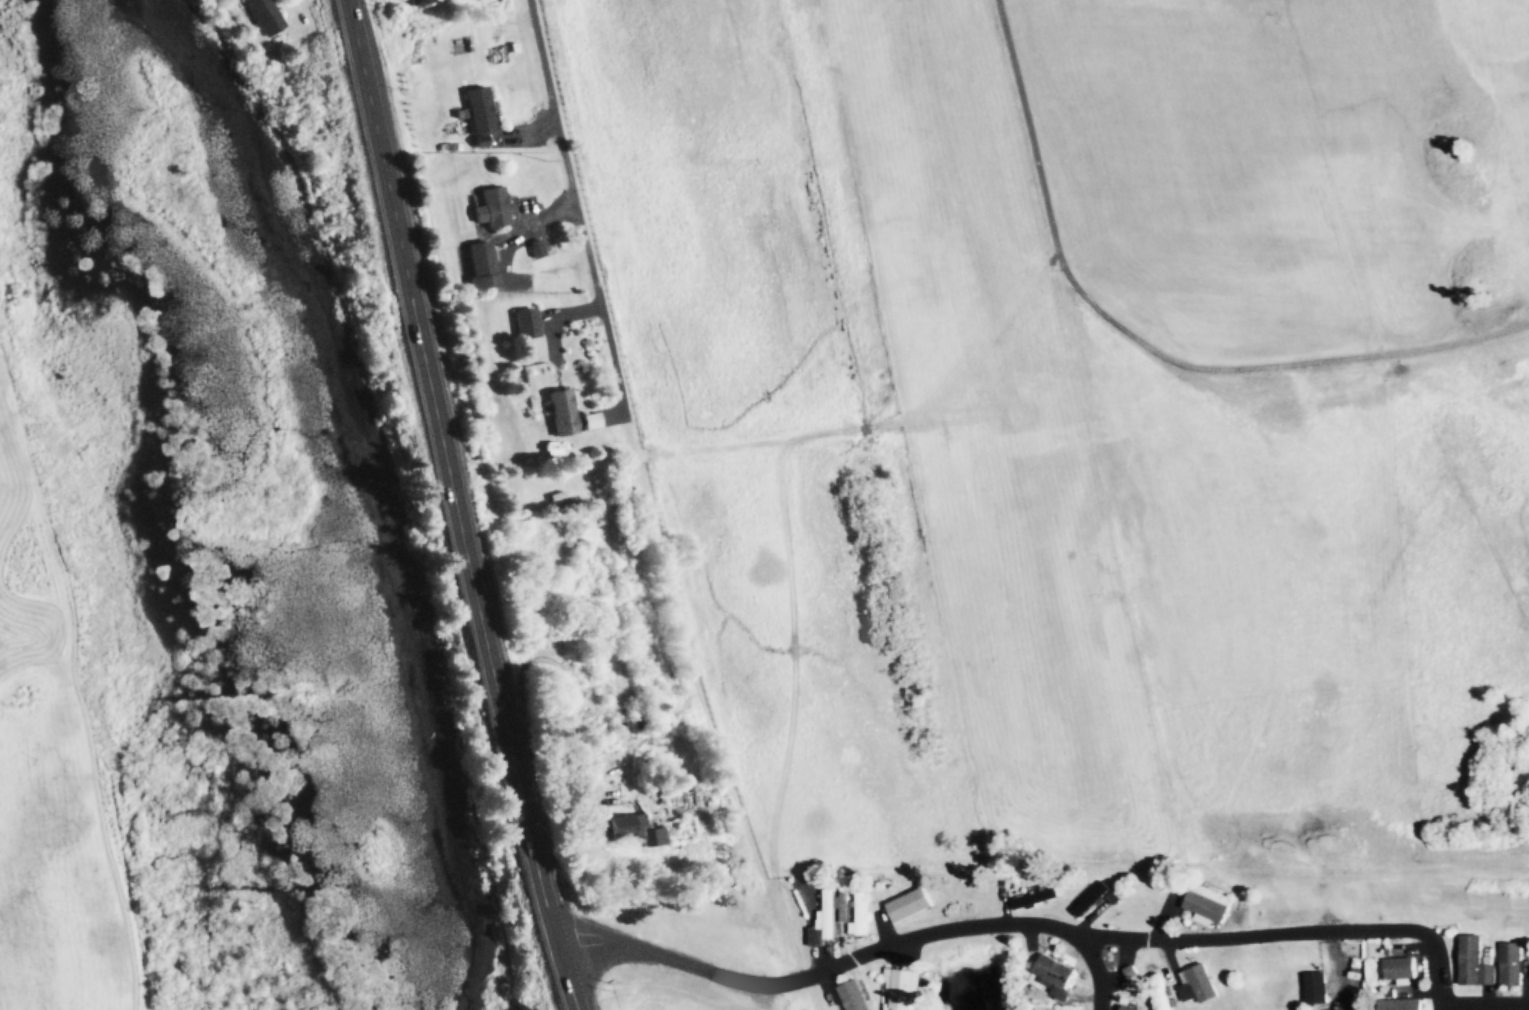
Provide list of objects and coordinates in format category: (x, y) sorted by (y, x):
building: (417, 2)
building: (265, 16)
building: (480, 110)
road: (582, 206)
building: (493, 208)
building: (540, 249)
building: (482, 258)
building: (529, 323)
road: (1149, 345)
building: (563, 412)
road: (454, 506)
railway: (698, 720)
building: (634, 830)
building: (1039, 897)
building: (1100, 900)
building: (1210, 904)
building: (911, 905)
building: (863, 914)
road: (1290, 934)
road: (855, 962)
building: (1476, 963)
building: (1513, 964)
building: (1401, 968)
building: (1058, 976)
building: (1202, 984)
building: (904, 987)
building: (1317, 988)
building: (856, 996)
building: (1401, 1004)
building: (1129, 1007)
road: (1487, 1007)

